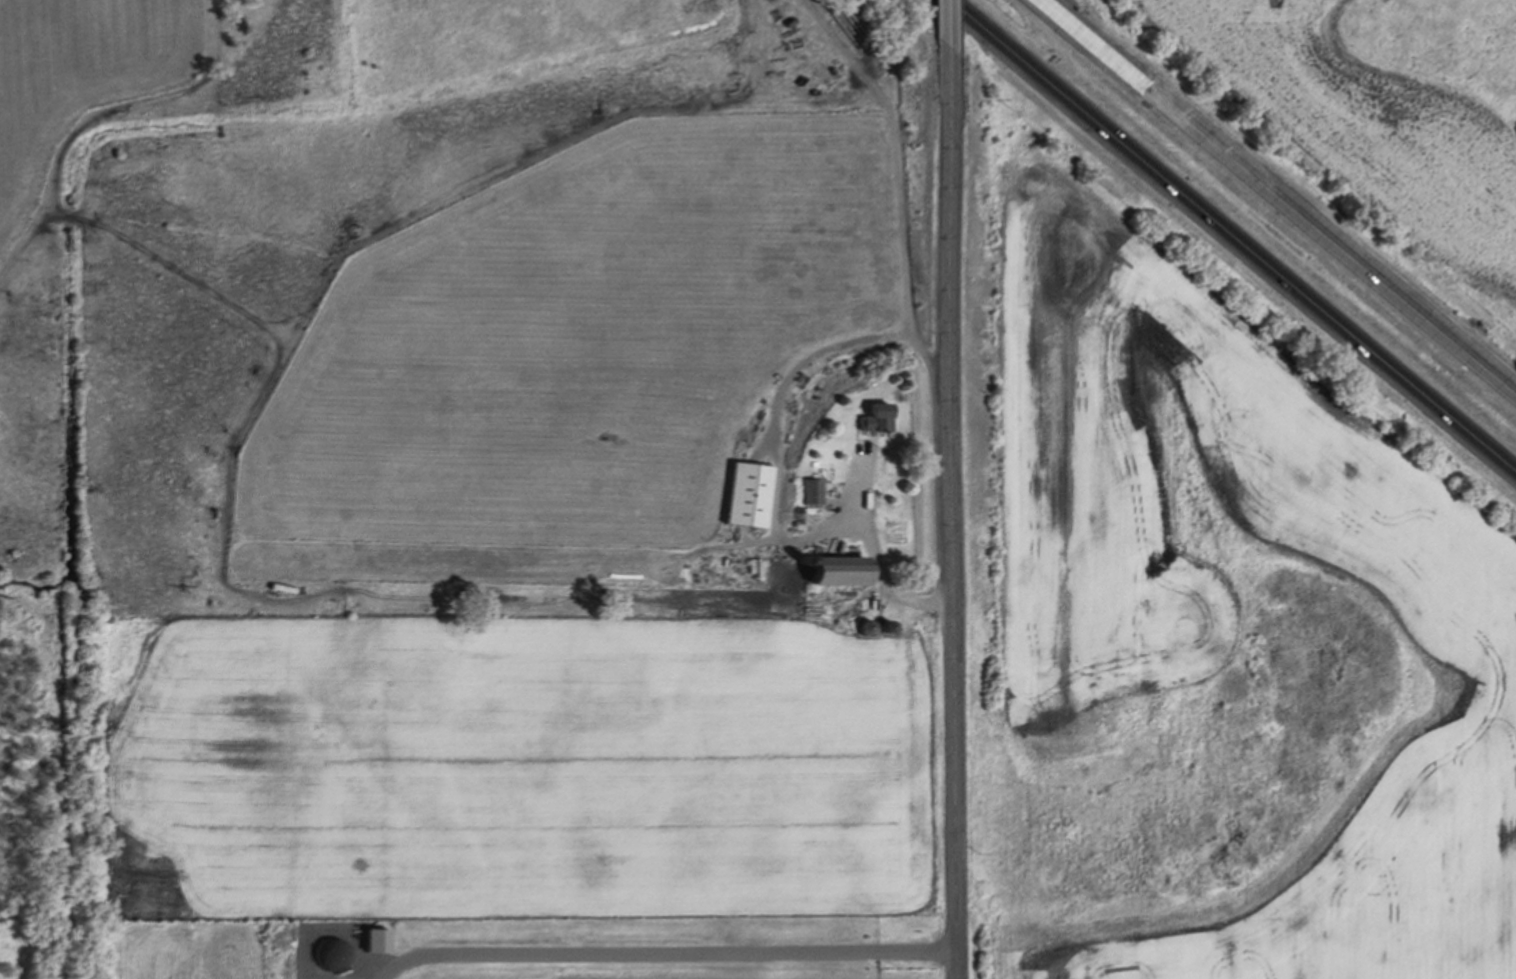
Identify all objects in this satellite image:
road: (944, 28)
road: (1278, 197)
road: (1233, 233)
road: (782, 400)
building: (878, 419)
building: (813, 492)
building: (750, 495)
road: (953, 517)
road: (876, 556)
building: (839, 571)
building: (378, 941)
road: (670, 951)

